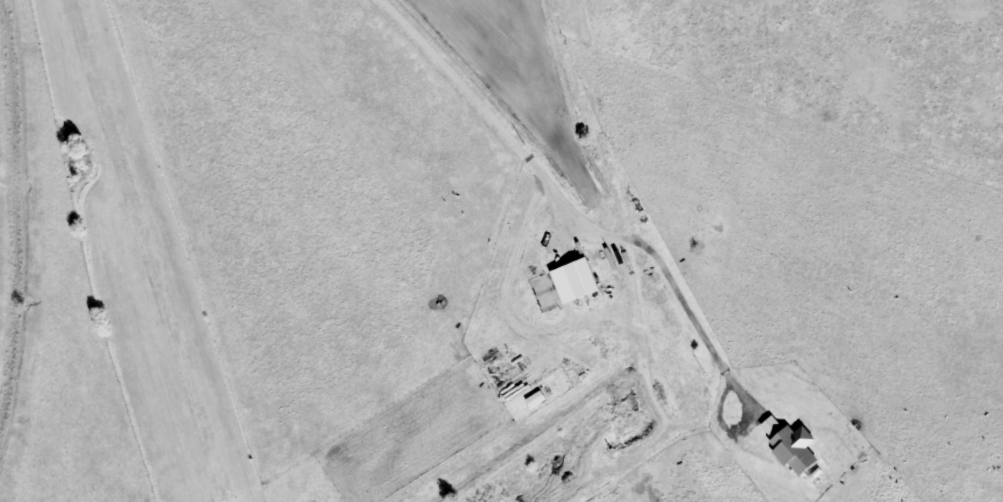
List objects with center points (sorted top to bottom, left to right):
road: (469, 98)
airport runway: (142, 251)
building: (575, 281)
road: (695, 325)
building: (537, 399)
building: (772, 425)
building: (795, 448)

